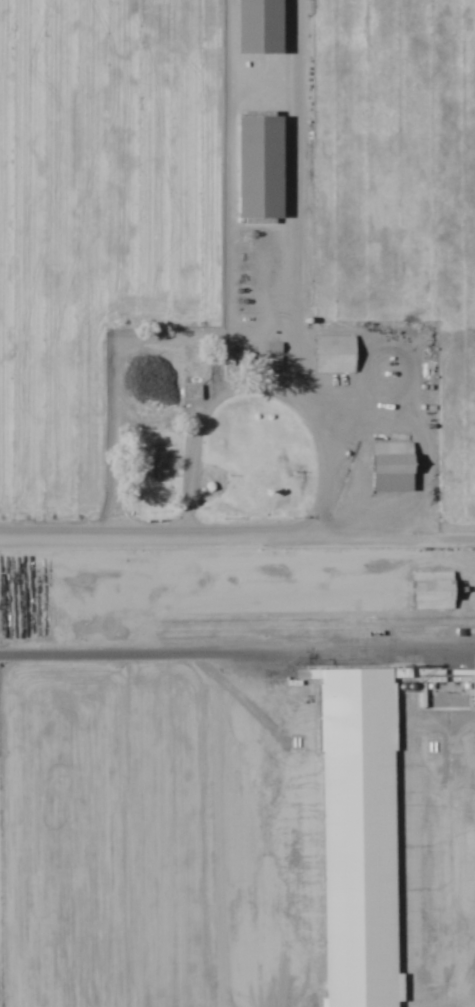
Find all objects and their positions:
building: (261, 27)
building: (262, 168)
road: (274, 190)
building: (335, 355)
building: (242, 361)
building: (191, 394)
building: (154, 465)
building: (393, 468)
building: (433, 592)

